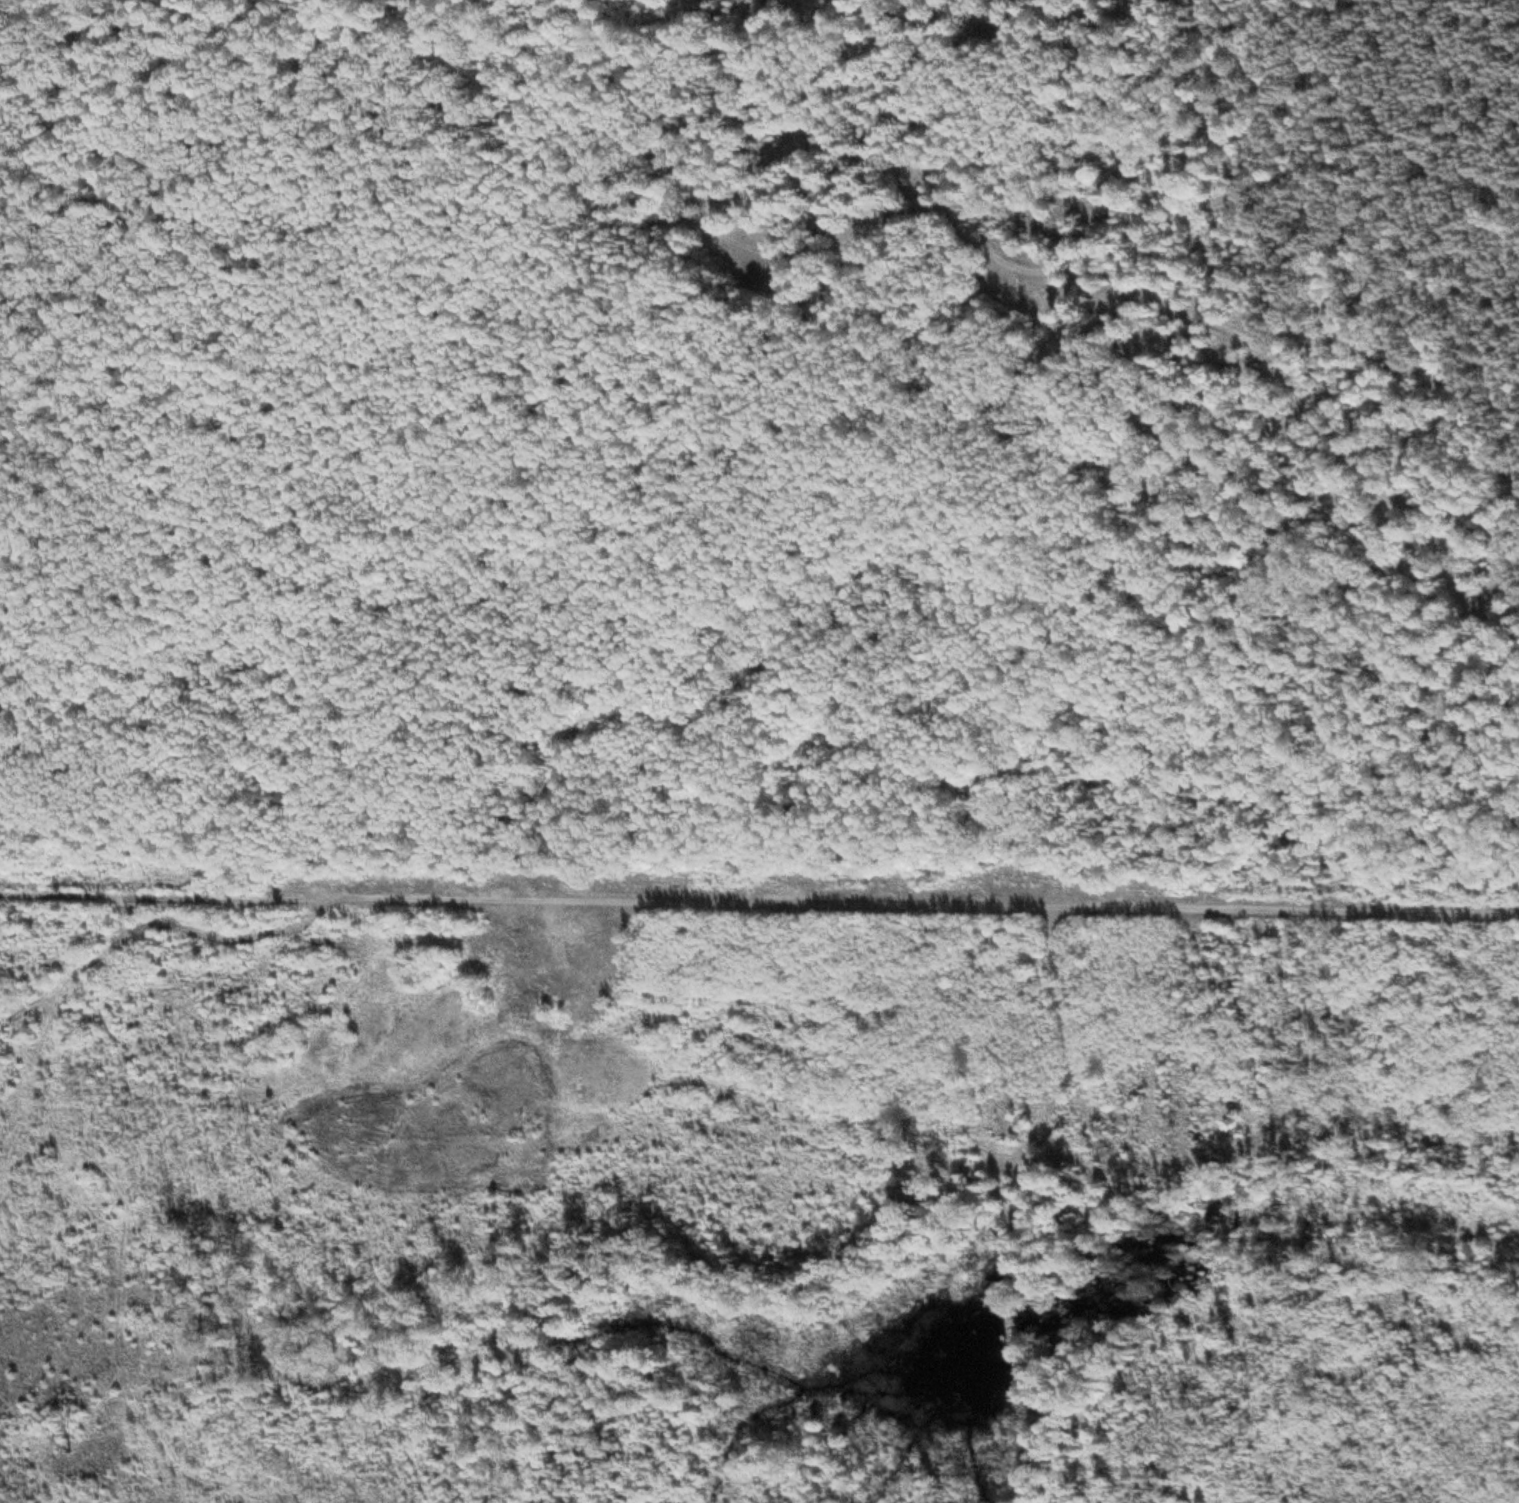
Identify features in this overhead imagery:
road: (759, 892)

